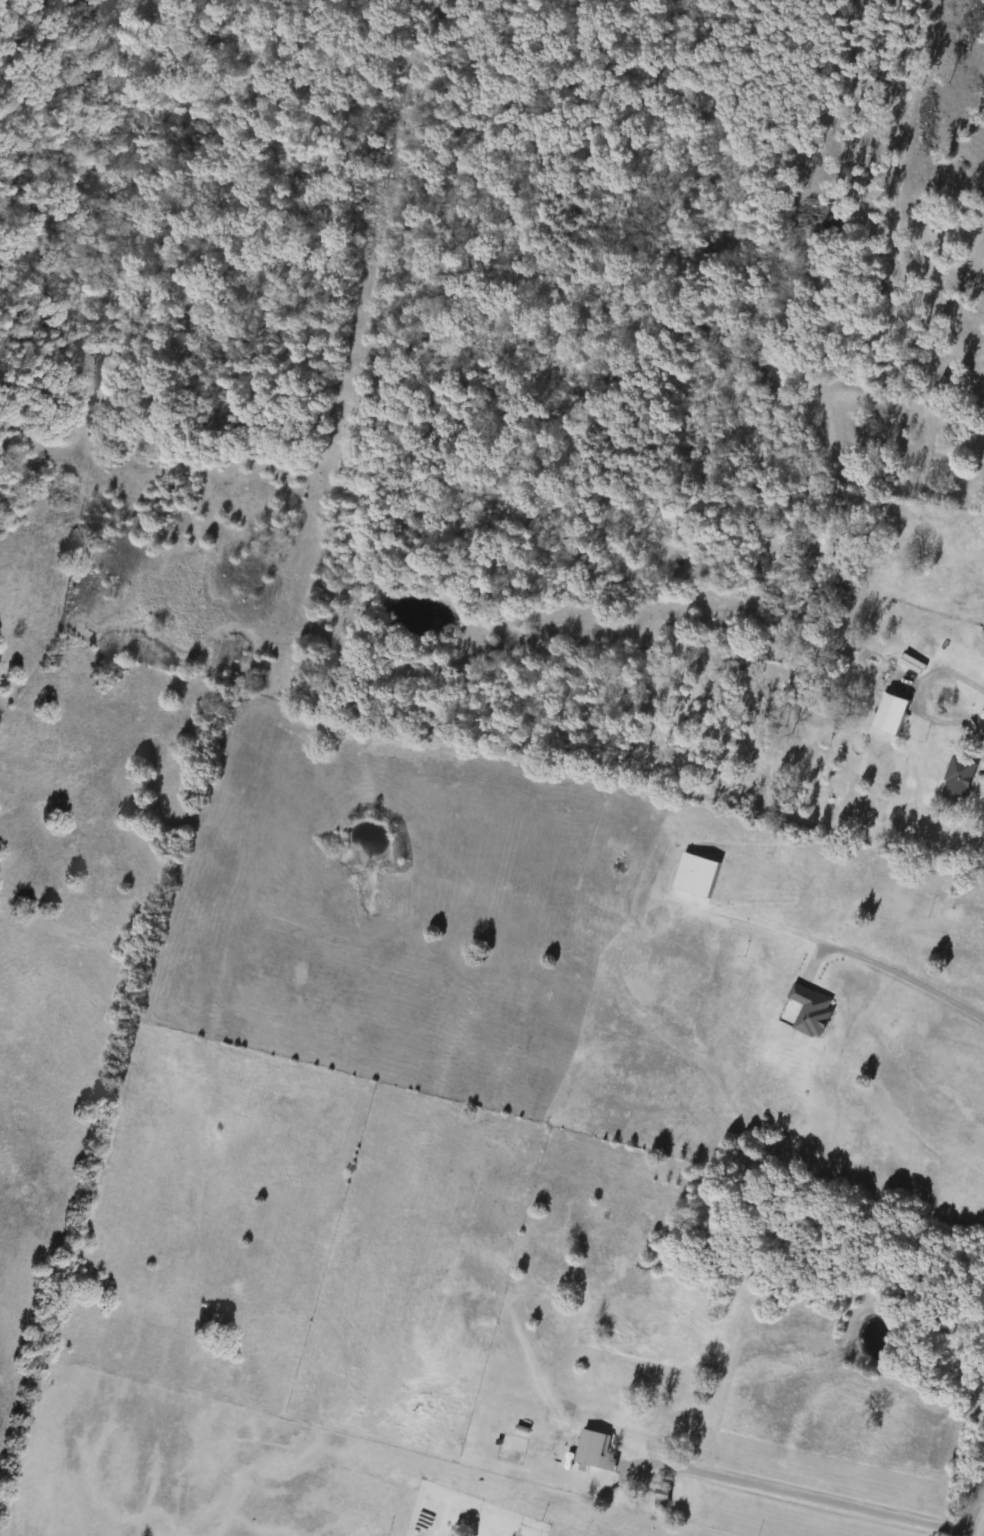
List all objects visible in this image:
road: (951, 720)
building: (960, 781)
building: (698, 875)
road: (904, 974)
building: (813, 1010)
building: (596, 1450)
road: (807, 1494)
road: (973, 1500)

